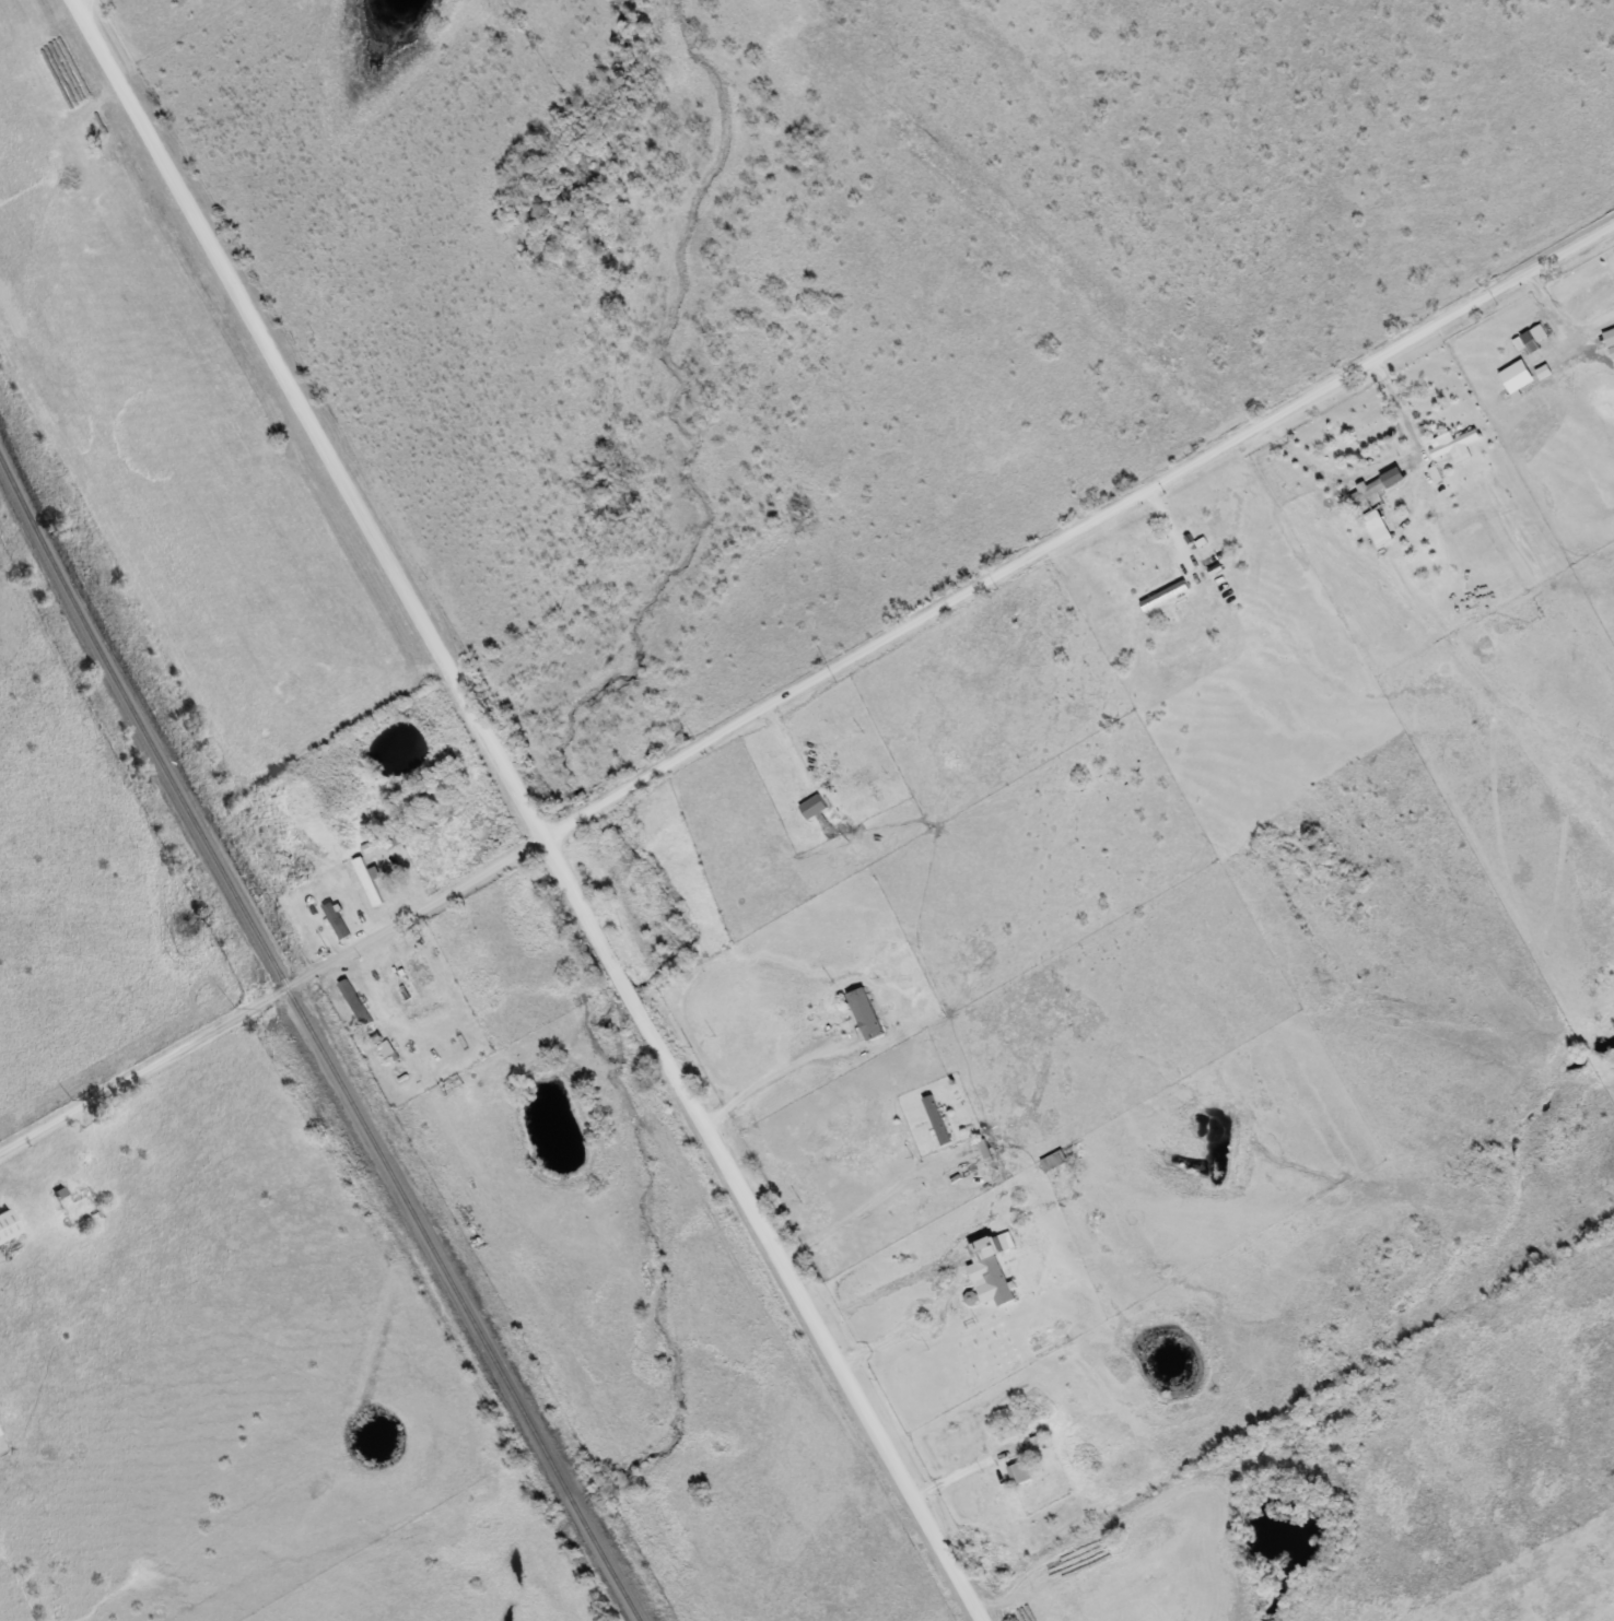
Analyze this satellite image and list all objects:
road: (82, 7)
building: (1453, 442)
building: (1373, 490)
road: (807, 681)
building: (812, 806)
road: (528, 809)
building: (395, 835)
building: (367, 879)
building: (399, 979)
building: (424, 1010)
building: (864, 1012)
railway: (317, 1042)
road: (764, 1083)
building: (935, 1118)
building: (7, 1226)
building: (995, 1278)

